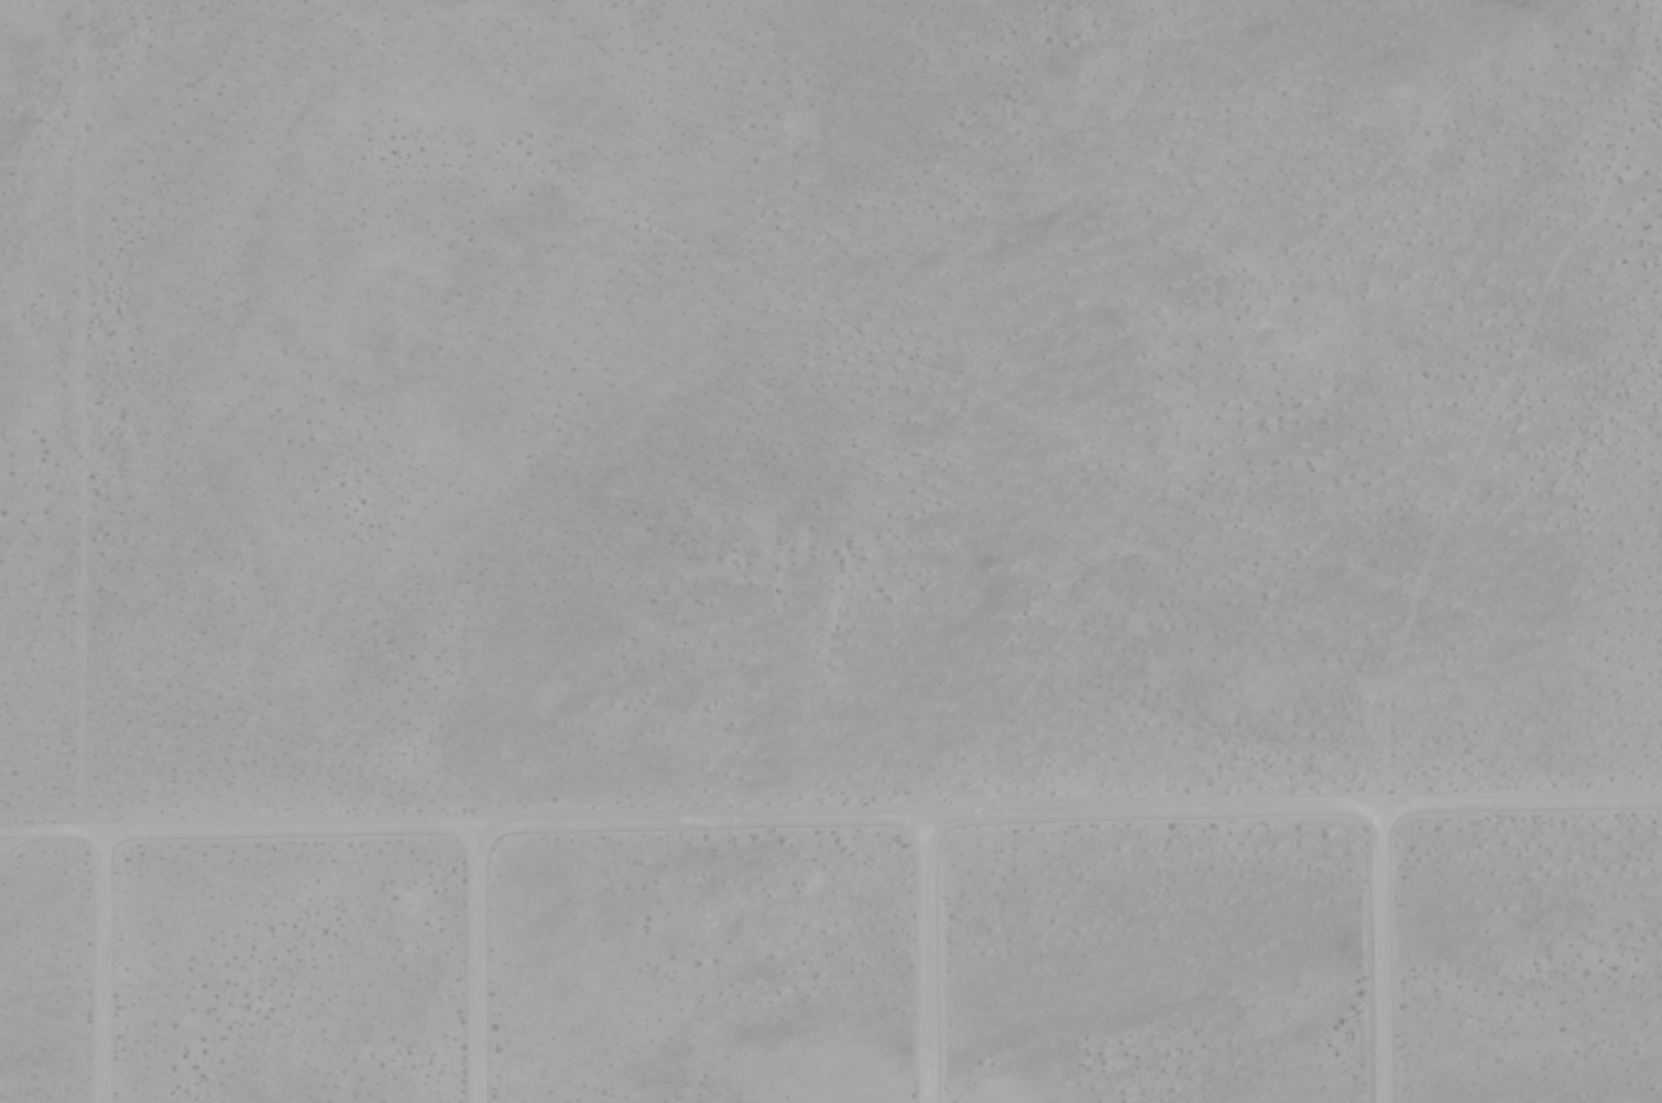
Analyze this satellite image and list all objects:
road: (831, 817)
road: (1382, 953)
road: (928, 959)
road: (480, 964)
road: (105, 968)

